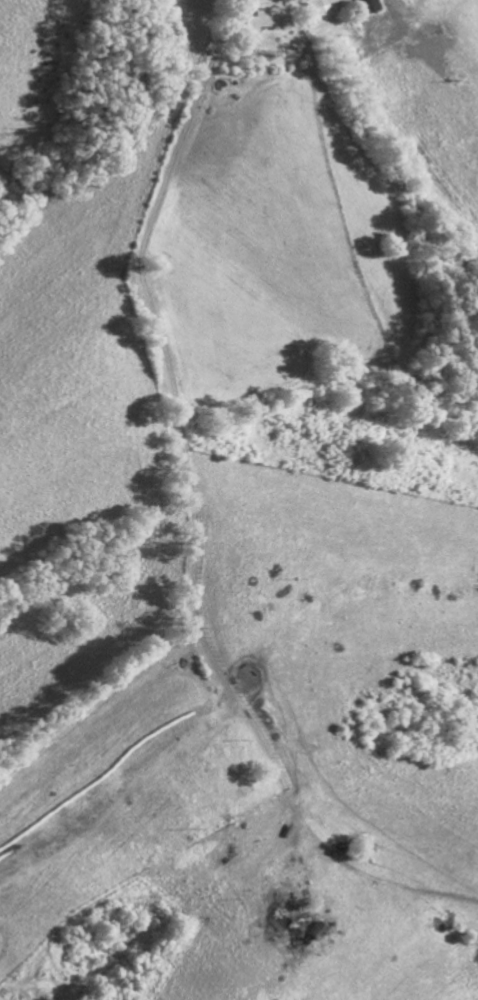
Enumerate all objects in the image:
building: (370, 6)

